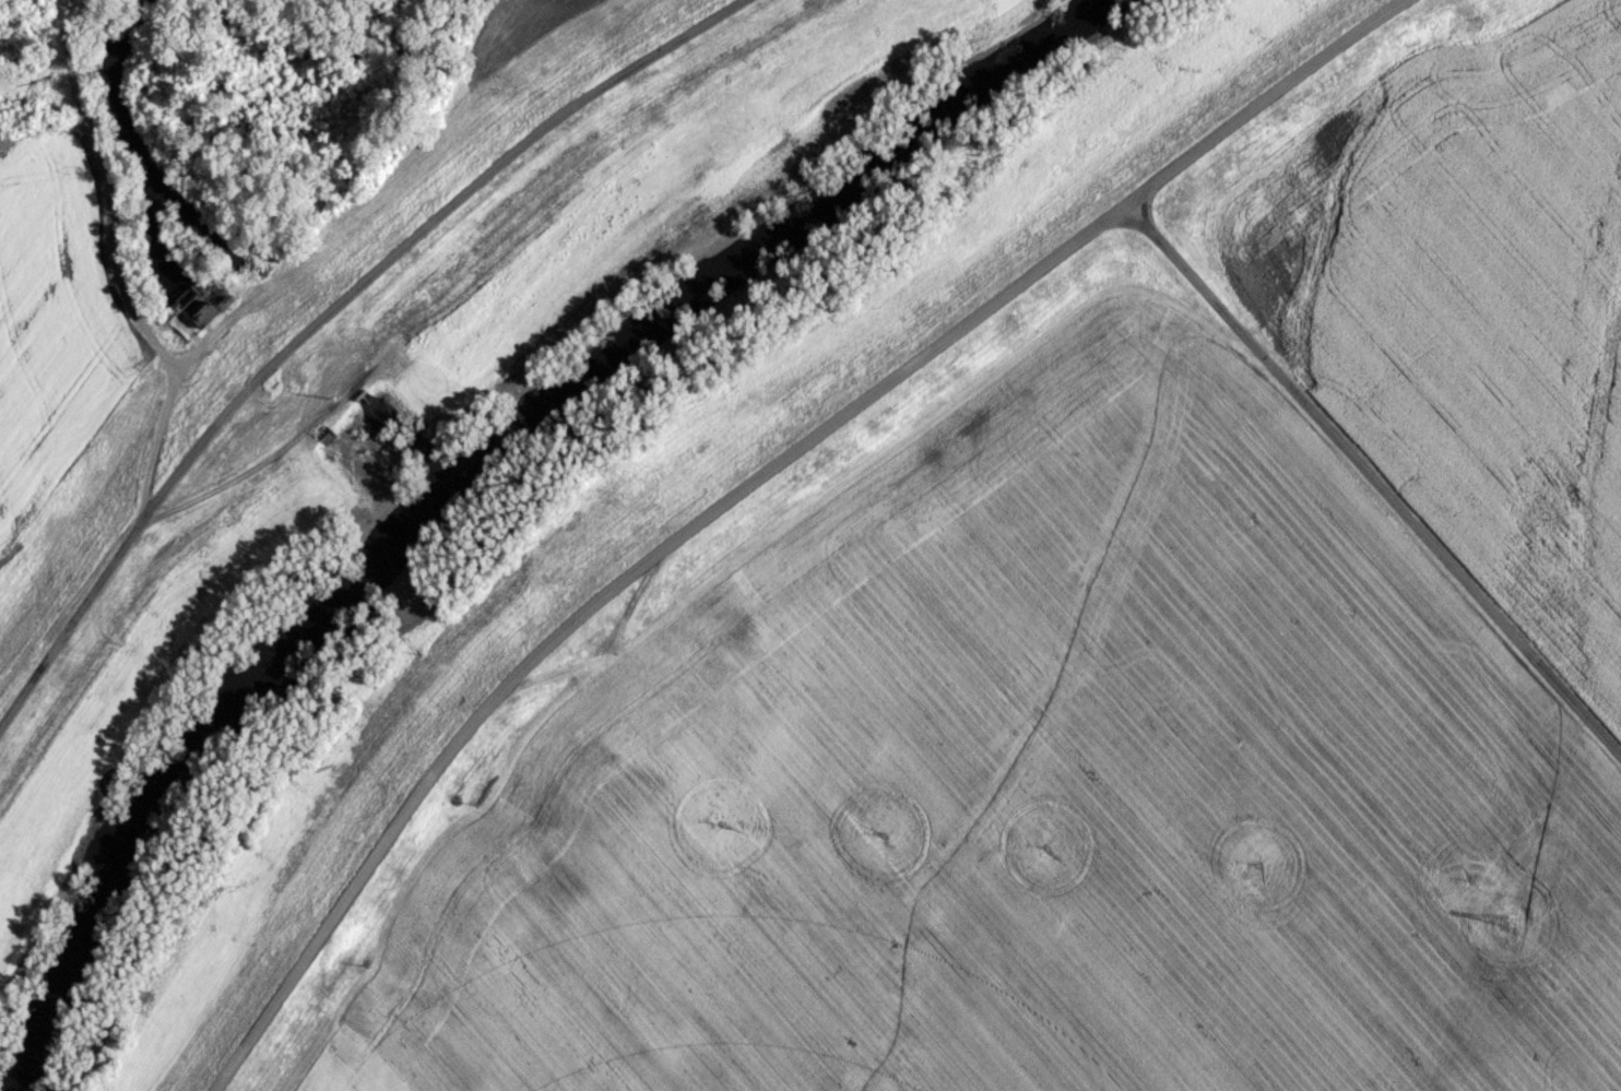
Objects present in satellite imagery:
road: (322, 312)
road: (164, 412)
road: (1371, 479)
road: (741, 482)
power tower: (1510, 915)

